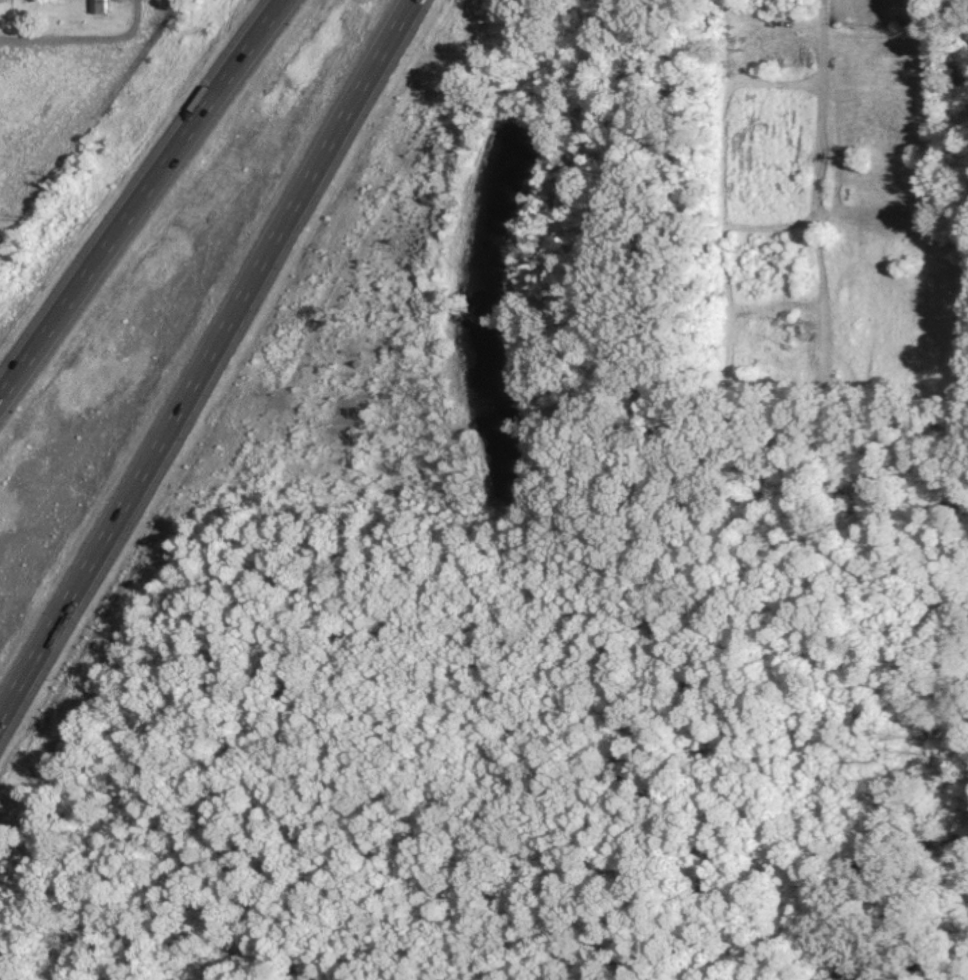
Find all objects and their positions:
building: (95, 7)
building: (966, 27)
crop: (57, 88)
road: (146, 200)
road: (205, 356)

